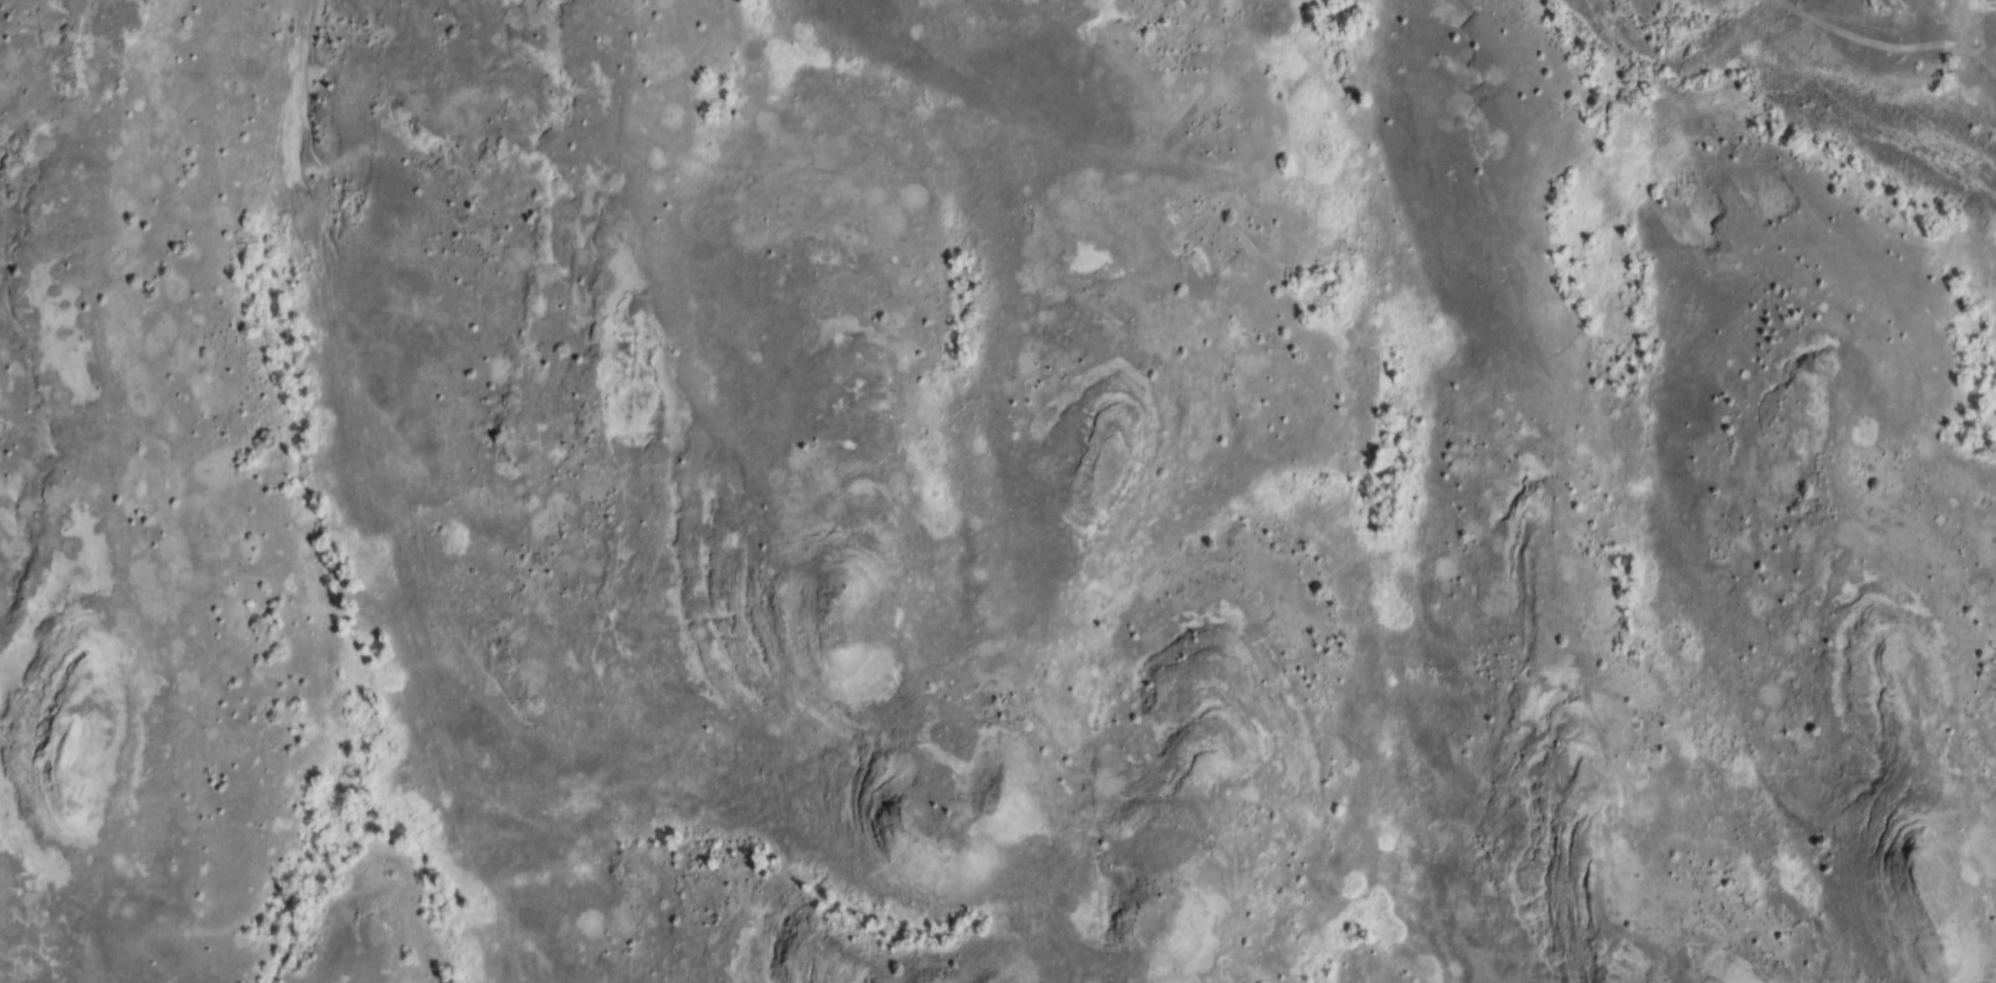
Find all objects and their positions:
road: (1886, 45)

